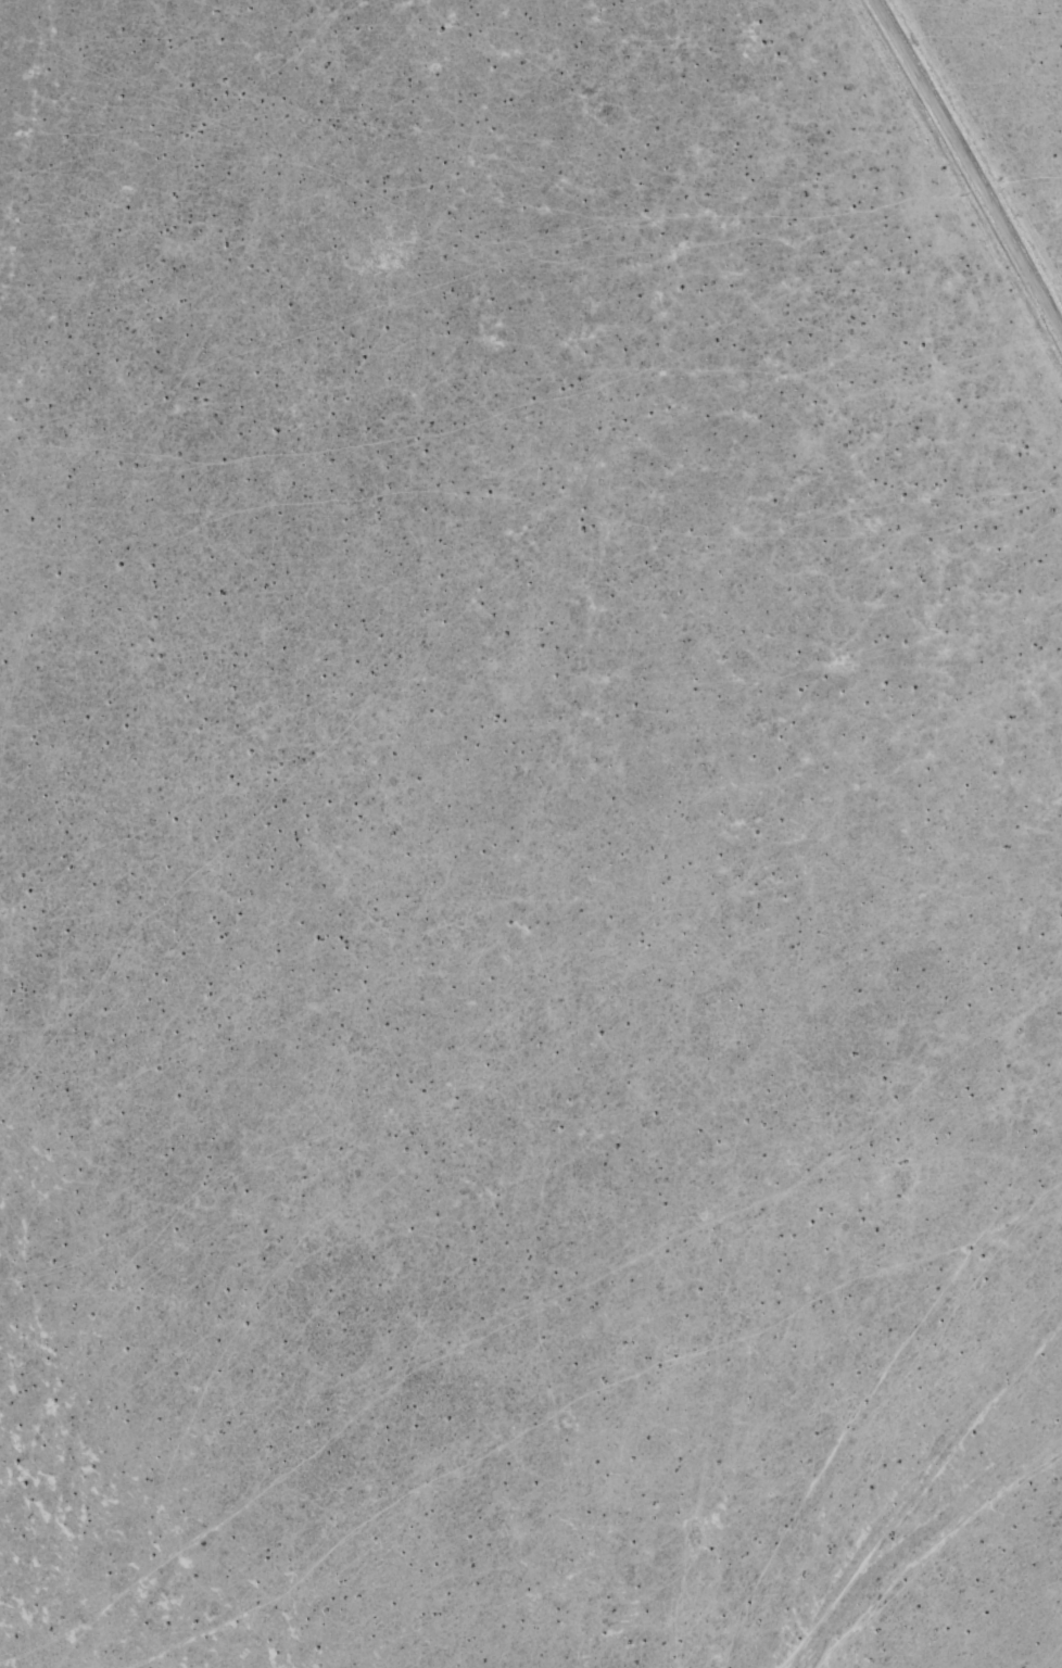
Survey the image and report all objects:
road: (972, 159)

